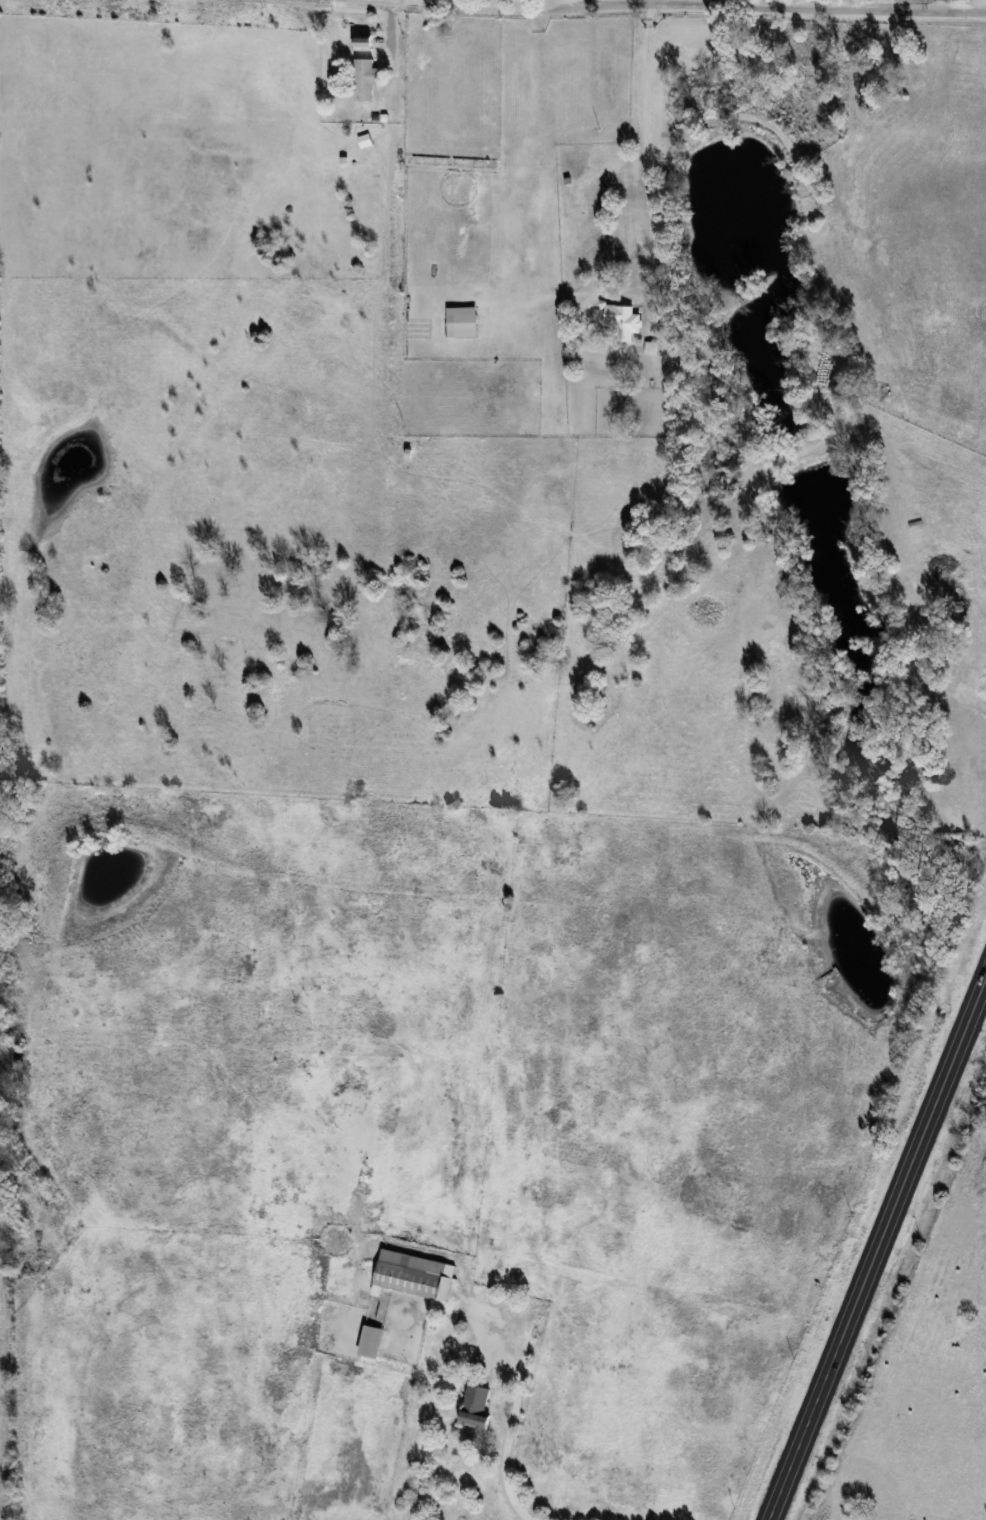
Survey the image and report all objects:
road: (684, 4)
building: (365, 42)
building: (365, 79)
road: (645, 145)
building: (621, 321)
building: (466, 325)
road: (877, 1246)
building: (411, 1273)
building: (371, 1340)
building: (476, 1407)
road: (505, 1429)

